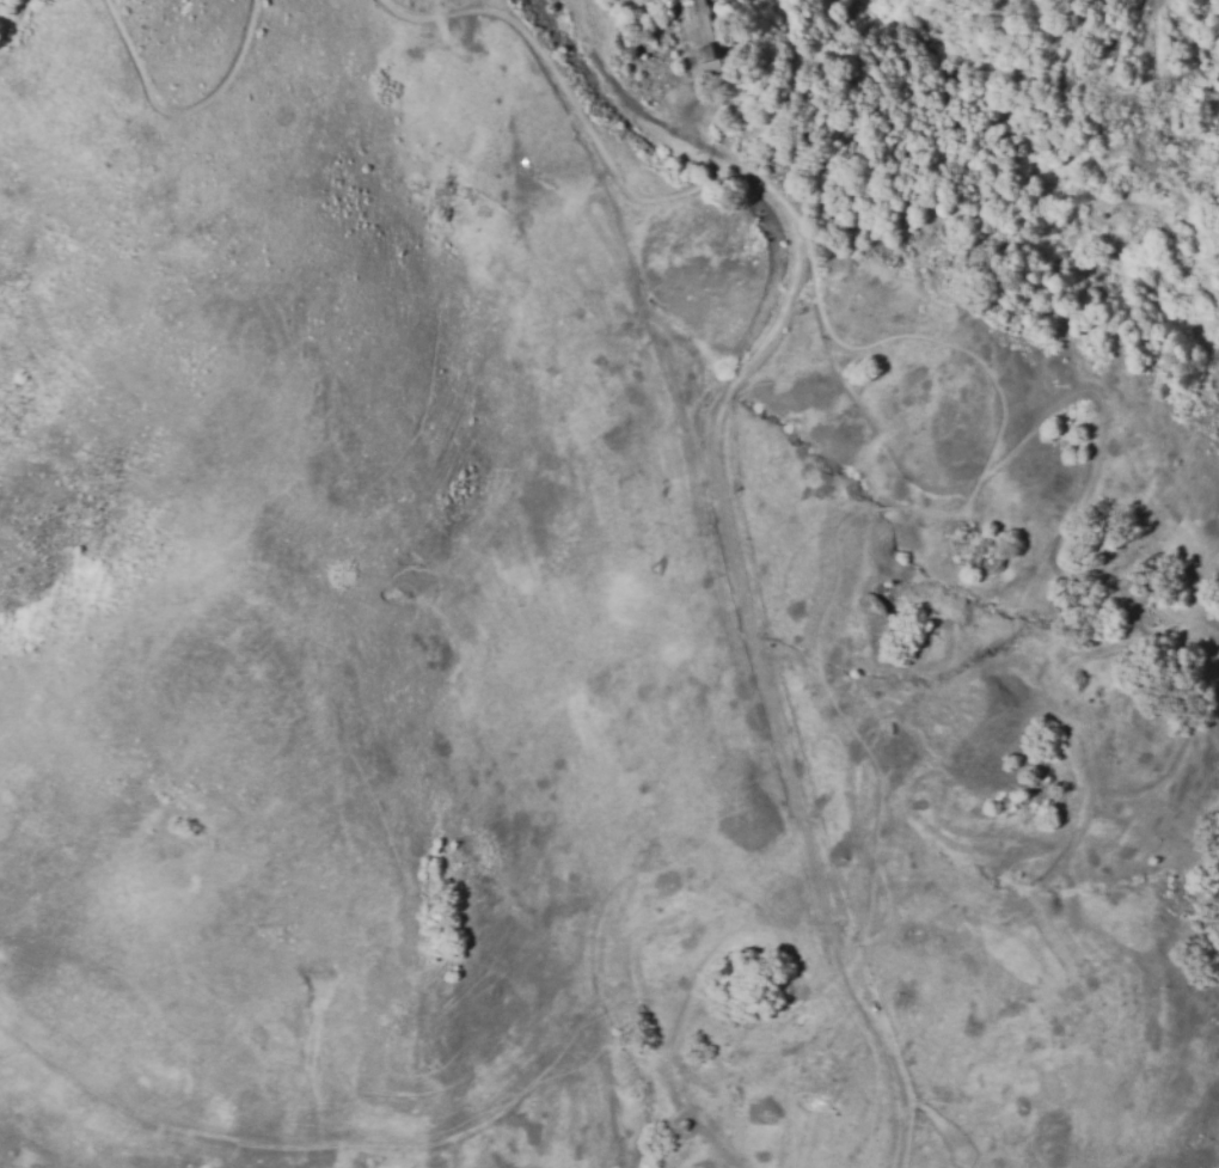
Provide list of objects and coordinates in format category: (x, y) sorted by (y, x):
building: (706, 60)
road: (785, 542)

